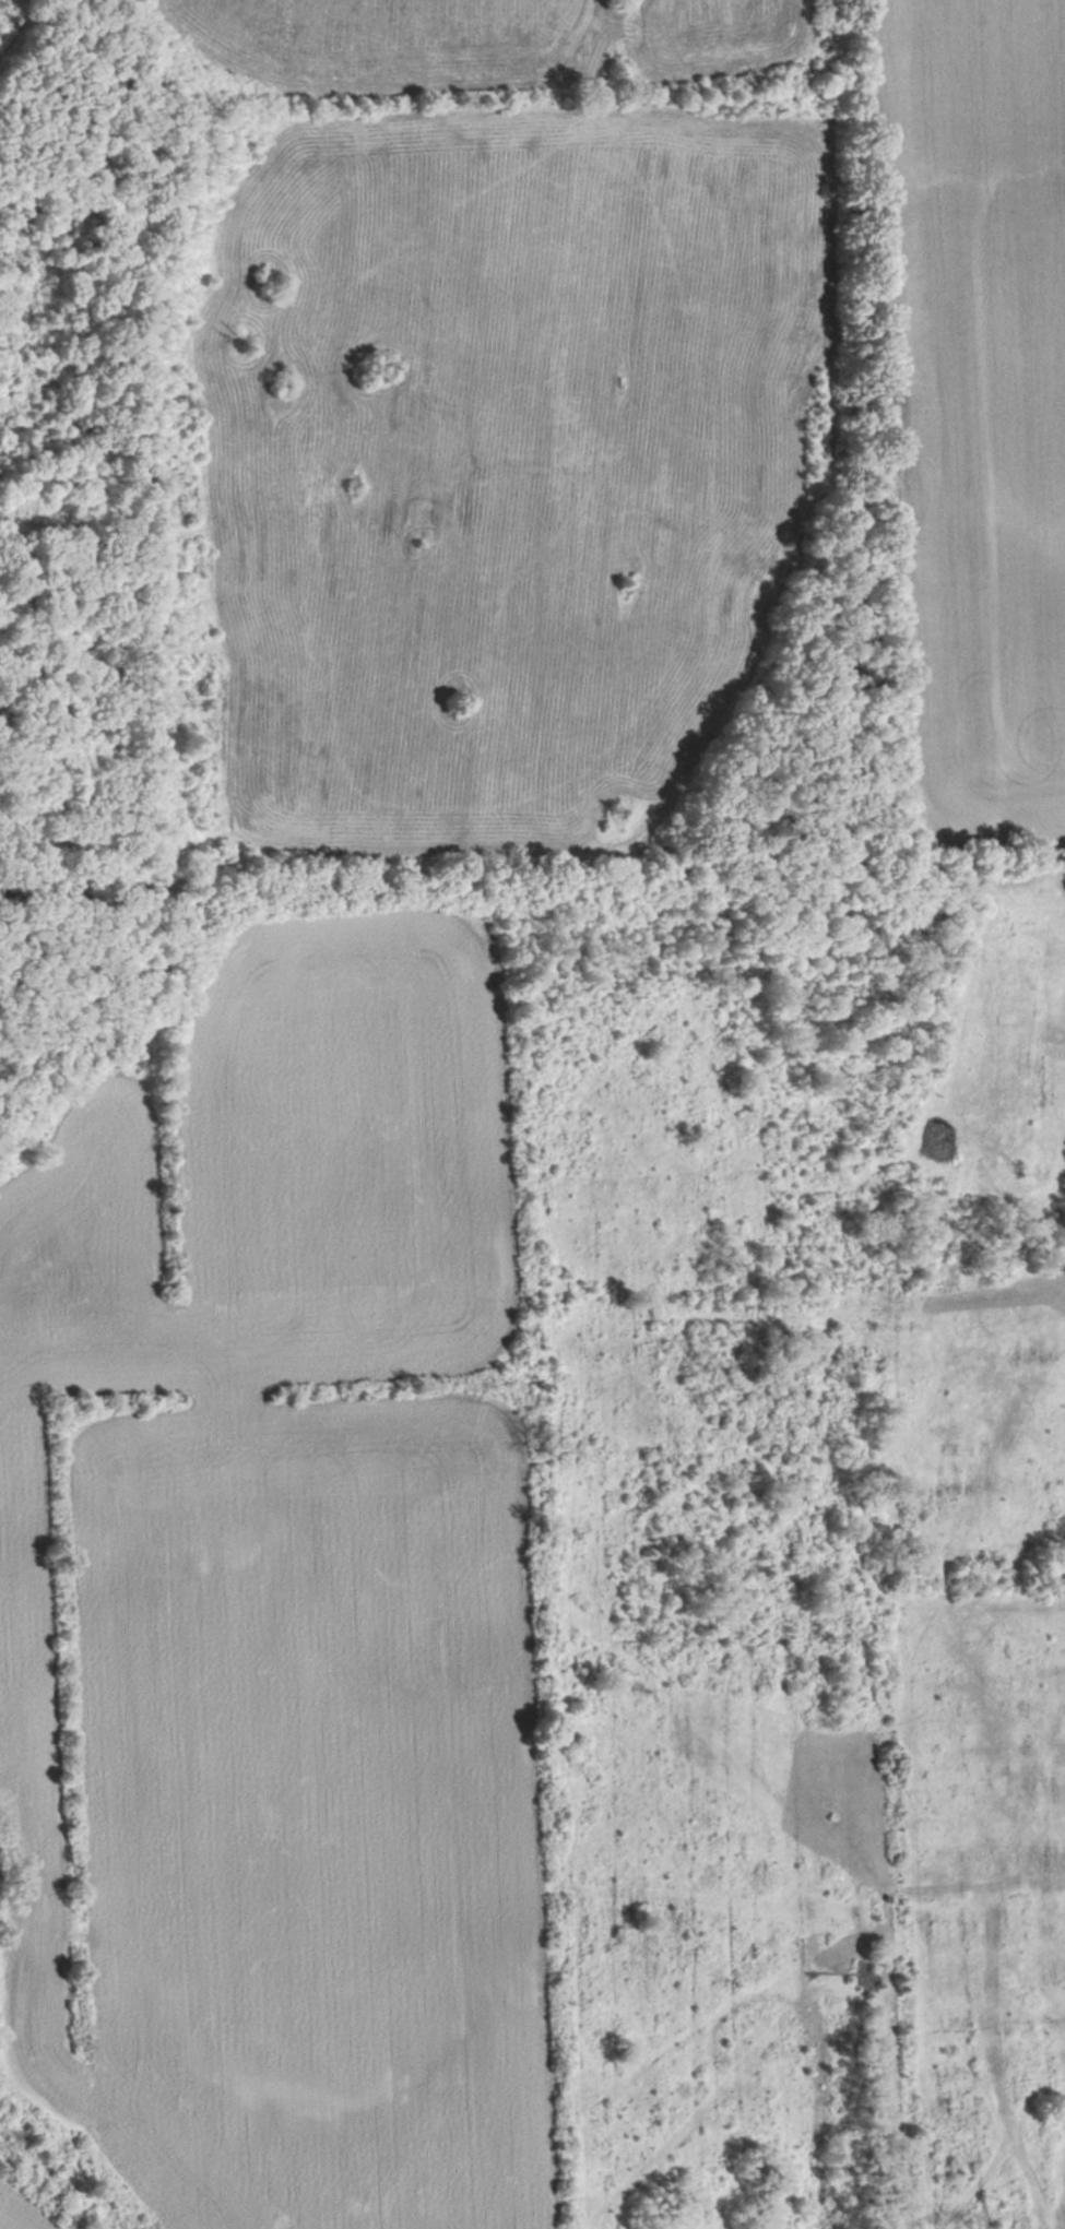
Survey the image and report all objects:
railway: (52, 2181)

